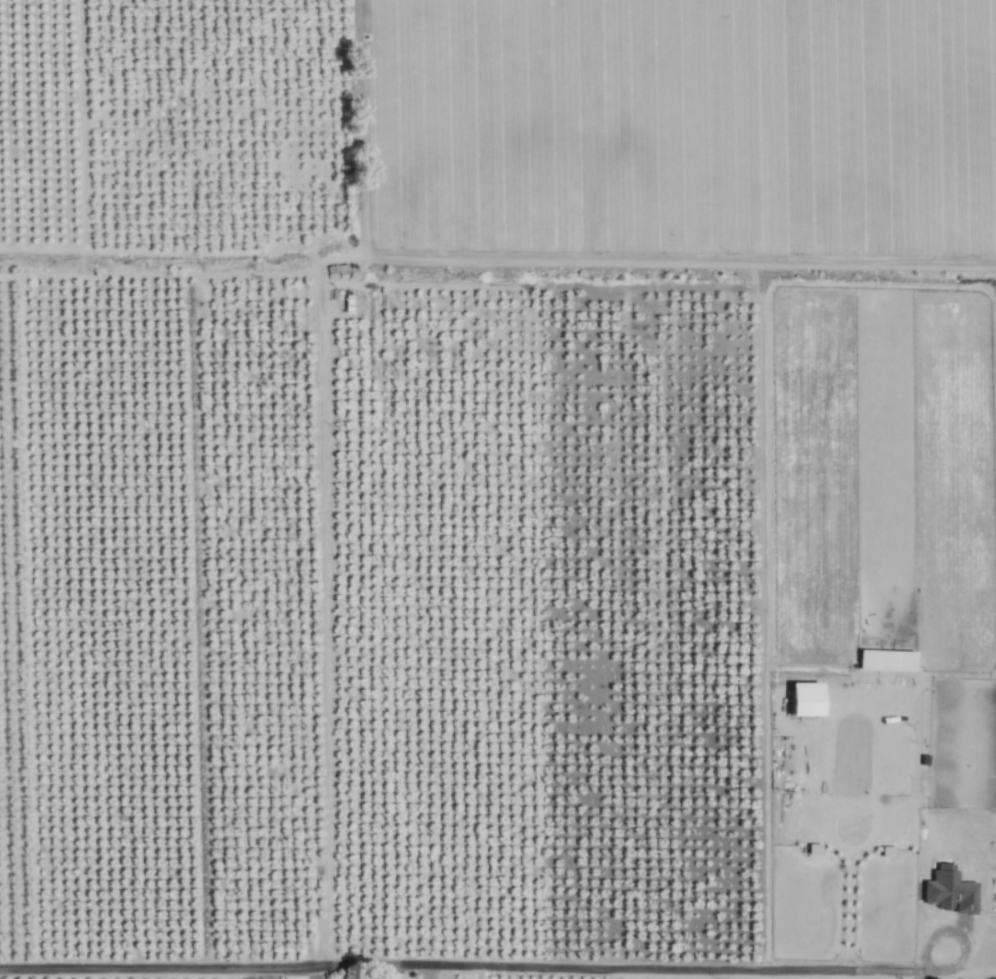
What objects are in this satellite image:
road: (364, 128)
road: (497, 262)
building: (885, 660)
building: (803, 699)
road: (829, 821)
road: (871, 837)
building: (948, 891)
road: (460, 970)
road: (430, 974)

